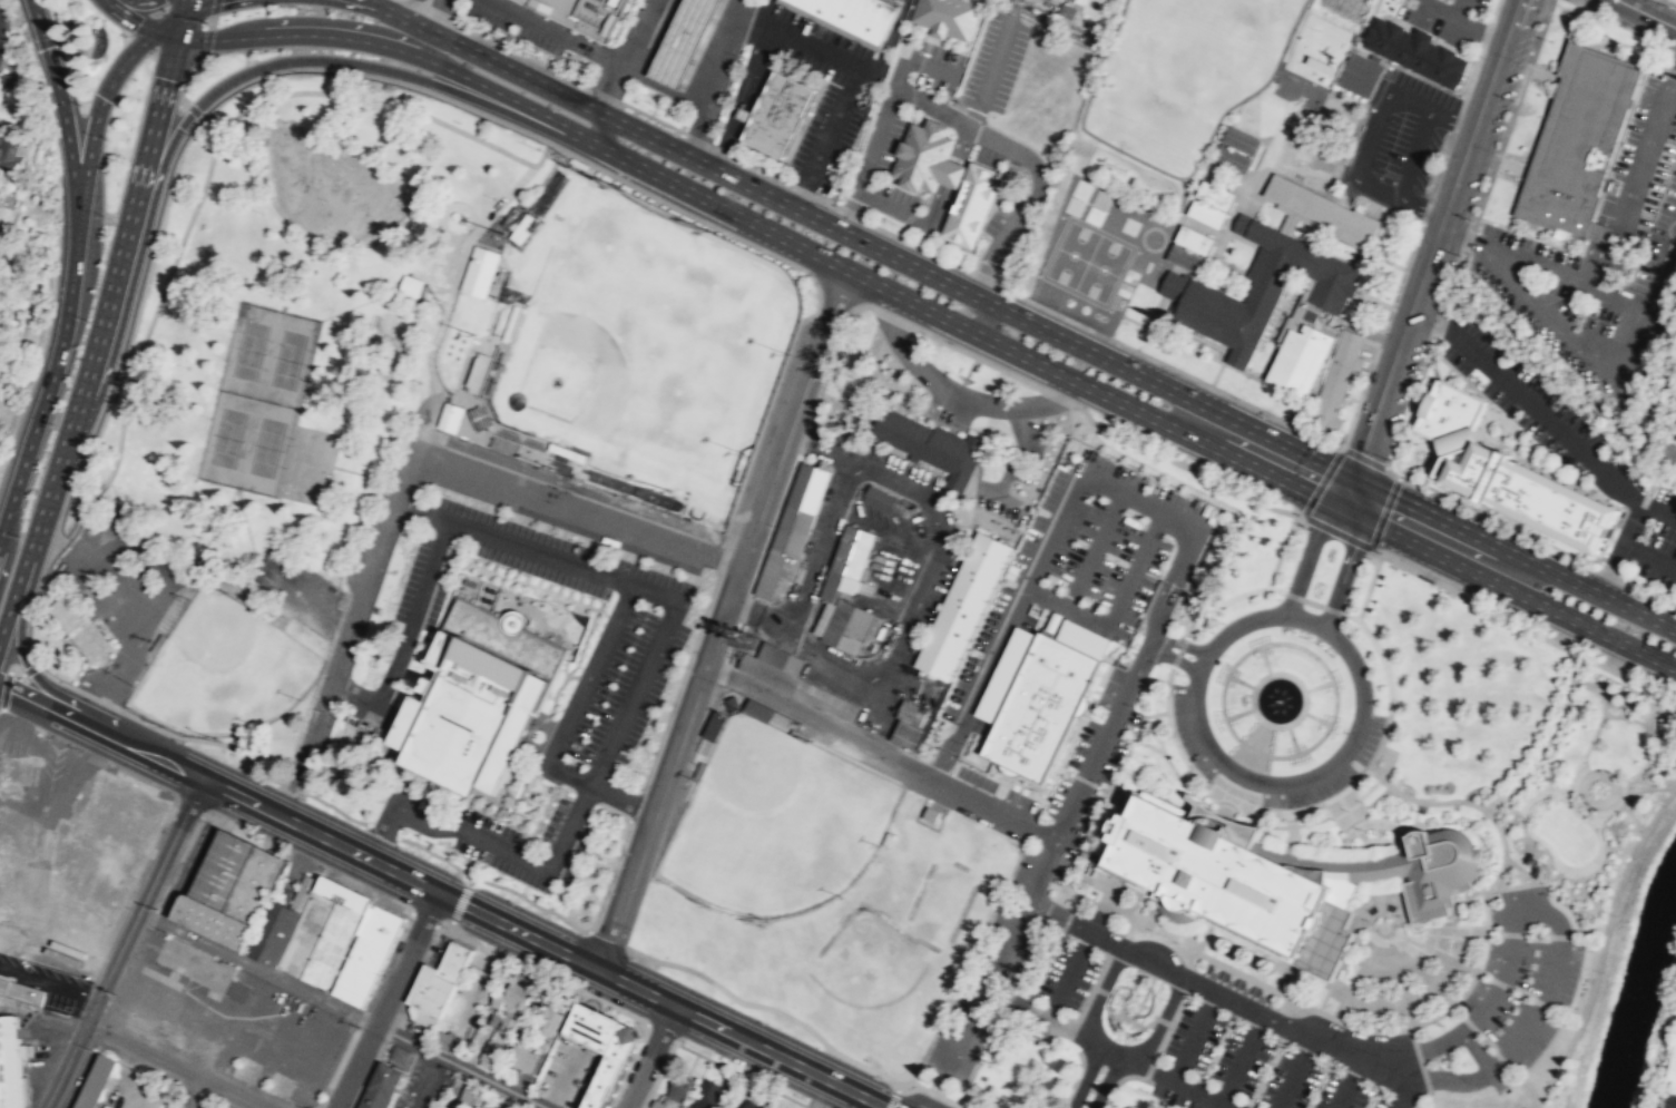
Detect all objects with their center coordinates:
road: (146, 1)
building: (1076, 1)
road: (1669, 2)
road: (399, 4)
street lamp: (1666, 4)
road: (367, 6)
road: (379, 6)
road: (188, 8)
road: (213, 8)
street lamp: (298, 8)
road: (434, 8)
building: (1067, 11)
road: (1647, 13)
building: (594, 14)
building: (853, 16)
building: (947, 16)
fountain: (1565, 16)
road: (184, 17)
street lamp: (370, 19)
parking lot: (1445, 19)
road: (210, 21)
road: (139, 23)
road: (428, 28)
road: (558, 31)
traffic signals: (213, 40)
road: (206, 41)
building: (688, 41)
gas station: (688, 41)
road: (888, 42)
building: (1417, 51)
parking lot: (994, 57)
road: (310, 58)
building: (1324, 65)
street lamp: (471, 66)
parking lot: (935, 66)
road: (621, 68)
road: (989, 69)
road: (187, 73)
building: (1360, 73)
road: (853, 75)
road: (372, 76)
road: (714, 78)
park: (1180, 79)
road: (749, 86)
road: (756, 90)
park: (1298, 91)
road: (738, 96)
traffic signals: (59, 99)
road: (184, 100)
street lamp: (558, 108)
road: (193, 109)
building: (780, 111)
road: (61, 112)
road: (880, 119)
road: (96, 120)
road: (1371, 137)
parking lot: (881, 138)
building: (1239, 139)
building: (1577, 139)
road: (960, 141)
road: (147, 143)
parking lot: (1400, 144)
street lamp: (646, 151)
road: (1414, 151)
building: (921, 154)
building: (10, 156)
building: (1232, 157)
road: (1634, 168)
road: (207, 174)
road: (699, 193)
building: (1214, 194)
parking lot: (898, 196)
road: (1031, 199)
road: (882, 202)
building: (970, 203)
building: (1321, 208)
road: (802, 210)
building: (1206, 212)
street lamp: (107, 217)
road: (1419, 224)
road: (894, 236)
building: (1193, 238)
parking lot: (1003, 239)
road: (1468, 239)
road: (1432, 245)
park: (1071, 254)
building: (1185, 257)
road: (1545, 264)
park: (1101, 267)
building: (479, 269)
road: (1662, 272)
building: (413, 286)
road: (443, 288)
building: (1257, 288)
road: (449, 297)
road: (497, 308)
road: (1432, 315)
building: (1306, 316)
road: (983, 318)
street lamp: (86, 320)
building: (510, 324)
road: (129, 331)
park: (647, 343)
park: (268, 354)
road: (1595, 354)
building: (1300, 359)
road: (1423, 363)
street lamp: (1419, 369)
road: (1008, 372)
road: (455, 376)
building: (1336, 379)
road: (48, 382)
road: (441, 391)
road: (955, 396)
park: (274, 405)
building: (1449, 411)
street lamp: (1266, 414)
building: (450, 416)
road: (1546, 418)
road: (1411, 422)
street lamp: (52, 423)
park: (247, 442)
road: (63, 443)
building: (931, 445)
building: (566, 451)
road: (1363, 457)
park: (307, 464)
road: (1385, 464)
road: (353, 471)
street lamp: (584, 478)
road: (1321, 482)
traffic signals: (1349, 492)
road: (1354, 494)
building: (1531, 494)
road: (238, 500)
road: (1346, 500)
parking lot: (568, 502)
road: (577, 508)
road: (421, 510)
road: (1383, 512)
street lamp: (1484, 517)
road: (1499, 519)
building: (792, 523)
road: (935, 523)
road: (1053, 523)
road: (1335, 531)
street lamp: (19, 536)
road: (1619, 548)
road: (1094, 549)
road: (540, 550)
road: (1280, 550)
road: (4, 552)
road: (1306, 553)
building: (847, 560)
road: (1345, 569)
parking lot: (424, 582)
road: (1368, 586)
street lamp: (1545, 587)
parking lot: (295, 588)
road: (1275, 589)
road: (300, 590)
road: (1592, 590)
street lamp: (1445, 591)
road: (1292, 596)
road: (1221, 602)
road: (1312, 602)
road: (1472, 604)
road: (32, 606)
building: (961, 607)
road: (1115, 609)
road: (1332, 609)
road: (757, 612)
building: (266, 615)
road: (1350, 616)
road: (722, 618)
road: (345, 620)
street lamp: (1342, 620)
building: (517, 621)
building: (846, 625)
building: (79, 626)
road: (1585, 626)
street lamp: (1637, 630)
road: (349, 635)
road: (585, 638)
road: (1150, 638)
building: (158, 643)
road: (19, 644)
street lamp: (30, 644)
road: (1177, 650)
road: (569, 653)
road: (1264, 659)
road: (1233, 664)
road: (29, 668)
park: (222, 668)
road: (643, 669)
road: (14, 670)
road: (52, 676)
road: (569, 676)
road: (1626, 677)
building: (793, 678)
road: (1386, 678)
road: (1241, 680)
road: (1317, 686)
road: (1167, 688)
road: (4, 689)
road: (1095, 690)
road: (355, 693)
building: (480, 694)
road: (97, 698)
fountain: (1278, 700)
building: (1040, 706)
road: (1084, 706)
road: (1252, 707)
building: (757, 709)
road: (1095, 710)
road: (1238, 713)
road: (1670, 715)
road: (1623, 716)
road: (1315, 717)
road: (1330, 722)
building: (713, 725)
building: (912, 726)
road: (834, 727)
road: (1647, 727)
road: (1595, 731)
building: (362, 733)
road: (99, 734)
building: (798, 734)
road: (1291, 738)
street lamp: (180, 739)
road: (203, 739)
road: (1099, 742)
road: (1549, 742)
road: (540, 744)
street lamp: (964, 744)
road: (1148, 745)
street lamp: (76, 747)
road: (1253, 751)
road: (1372, 755)
road: (1389, 758)
road: (1238, 762)
road: (1645, 763)
road: (1065, 769)
building: (698, 771)
road: (1183, 771)
road: (1580, 774)
road: (1246, 776)
road: (1084, 778)
road: (549, 783)
road: (287, 784)
road: (1530, 784)
road: (1617, 784)
road: (1102, 787)
road: (1369, 787)
road: (1647, 787)
road: (602, 788)
fountain: (1598, 788)
road: (1585, 793)
road: (1520, 794)
road: (516, 796)
street lamp: (305, 798)
road: (424, 800)
road: (582, 800)
road: (1421, 801)
road: (1513, 804)
road: (189, 805)
road: (333, 806)
road: (474, 806)
road: (1248, 806)
road: (1605, 806)
road: (1614, 806)
street lamp: (1667, 806)
road: (993, 808)
road: (1214, 808)
road: (398, 810)
road: (1523, 810)
road: (606, 811)
road: (541, 812)
road: (1207, 812)
street lamp: (213, 814)
road: (1631, 816)
park: (774, 823)
road: (1030, 826)
road: (520, 828)
road: (382, 831)
flagpole: (1370, 832)
road: (320, 834)
flagpole: (1386, 834)
road: (610, 837)
flagpole: (1355, 841)
street lamp: (406, 846)
road: (1599, 850)
road: (149, 852)
road: (435, 854)
road: (1332, 856)
flagpole: (608, 857)
street lamp: (1635, 857)
road: (308, 859)
building: (228, 864)
road: (1070, 865)
road: (546, 866)
street lamp: (327, 869)
road: (1521, 869)
building: (1437, 870)
road: (612, 871)
parking lot: (1036, 876)
road: (470, 880)
building: (261, 881)
building: (1232, 885)
road: (1513, 885)
building: (349, 889)
building: (306, 890)
road: (1468, 896)
street lamp: (517, 901)
road: (1075, 901)
road: (144, 902)
road: (459, 902)
road: (530, 902)
park: (939, 902)
road: (1483, 905)
road: (1561, 906)
road: (1552, 915)
street lamp: (1615, 915)
building: (218, 916)
road: (423, 919)
road: (1066, 919)
building: (383, 922)
street lamp: (444, 925)
road: (449, 925)
building: (276, 929)
road: (1501, 932)
road: (1511, 932)
road: (1589, 932)
road: (1123, 933)
building: (323, 934)
road: (1560, 935)
road: (1536, 938)
road: (607, 939)
road: (1586, 940)
road: (1604, 940)
building: (374, 944)
street lamp: (1098, 954)
road: (1144, 955)
building: (367, 957)
street lamp: (635, 957)
park: (868, 961)
road: (966, 963)
road: (1039, 963)
street lamp: (531, 964)
building: (362, 969)
road: (1484, 971)
street lamp: (1603, 972)
road: (1068, 973)
parking lot: (1066, 975)
road: (1283, 978)
road: (1187, 979)
road: (1481, 979)
building: (356, 981)
road: (48, 982)
road: (1499, 982)
building: (437, 983)
parking lot: (1236, 983)
parking lot: (1519, 984)
road: (1509, 987)
road: (1098, 989)
building: (21, 991)
road: (581, 991)
building: (350, 993)
building: (518, 993)
street lamp: (1189, 996)
building: (498, 998)
road: (384, 999)
road: (663, 999)
road: (1007, 999)
road: (1123, 1002)
road: (766, 1007)
road: (1547, 1007)
road: (1316, 1009)
road: (1571, 1013)
building: (491, 1014)
street lamp: (1069, 1016)
street lamp: (1233, 1017)
building: (548, 1018)
road: (1162, 1019)
road: (1569, 1019)
street lamp: (767, 1022)
building: (509, 1023)
street lamp: (1584, 1028)
road: (659, 1031)
road: (1194, 1035)
road: (1164, 1037)
street lamp: (683, 1040)
street lamp: (1281, 1040)
building: (448, 1041)
building: (599, 1047)
road: (1106, 1047)
building: (492, 1051)
building: (400, 1053)
building: (522, 1055)
road: (649, 1056)
road: (982, 1058)
road: (1242, 1058)
street lamp: (1158, 1059)
road: (1419, 1059)
building: (9, 1062)
parking lot: (1260, 1063)
street lamp: (1329, 1063)
road: (460, 1066)
road: (63, 1067)
road: (171, 1067)
street lamp: (1101, 1068)
road: (1294, 1071)
road: (742, 1073)
building: (1672, 1073)
road: (1085, 1076)
street lamp: (881, 1077)
road: (1074, 1079)
road: (1147, 1080)
street lamp: (1202, 1080)
building: (95, 1081)
road: (424, 1081)
road: (1107, 1081)
road: (1117, 1081)
road: (1349, 1084)
street lamp: (1555, 1084)
parking lot: (424, 1085)
building: (381, 1086)
street lamp: (1376, 1086)
building: (680, 1087)
road: (899, 1087)
building: (473, 1092)
road: (934, 1092)
building: (712, 1095)
parking lot: (1173, 1096)
street lamp: (801, 1097)
road: (1419, 1098)
road: (892, 1099)
building: (658, 1104)
building: (752, 1104)
road: (1537, 1104)
street lamp: (1249, 1105)

